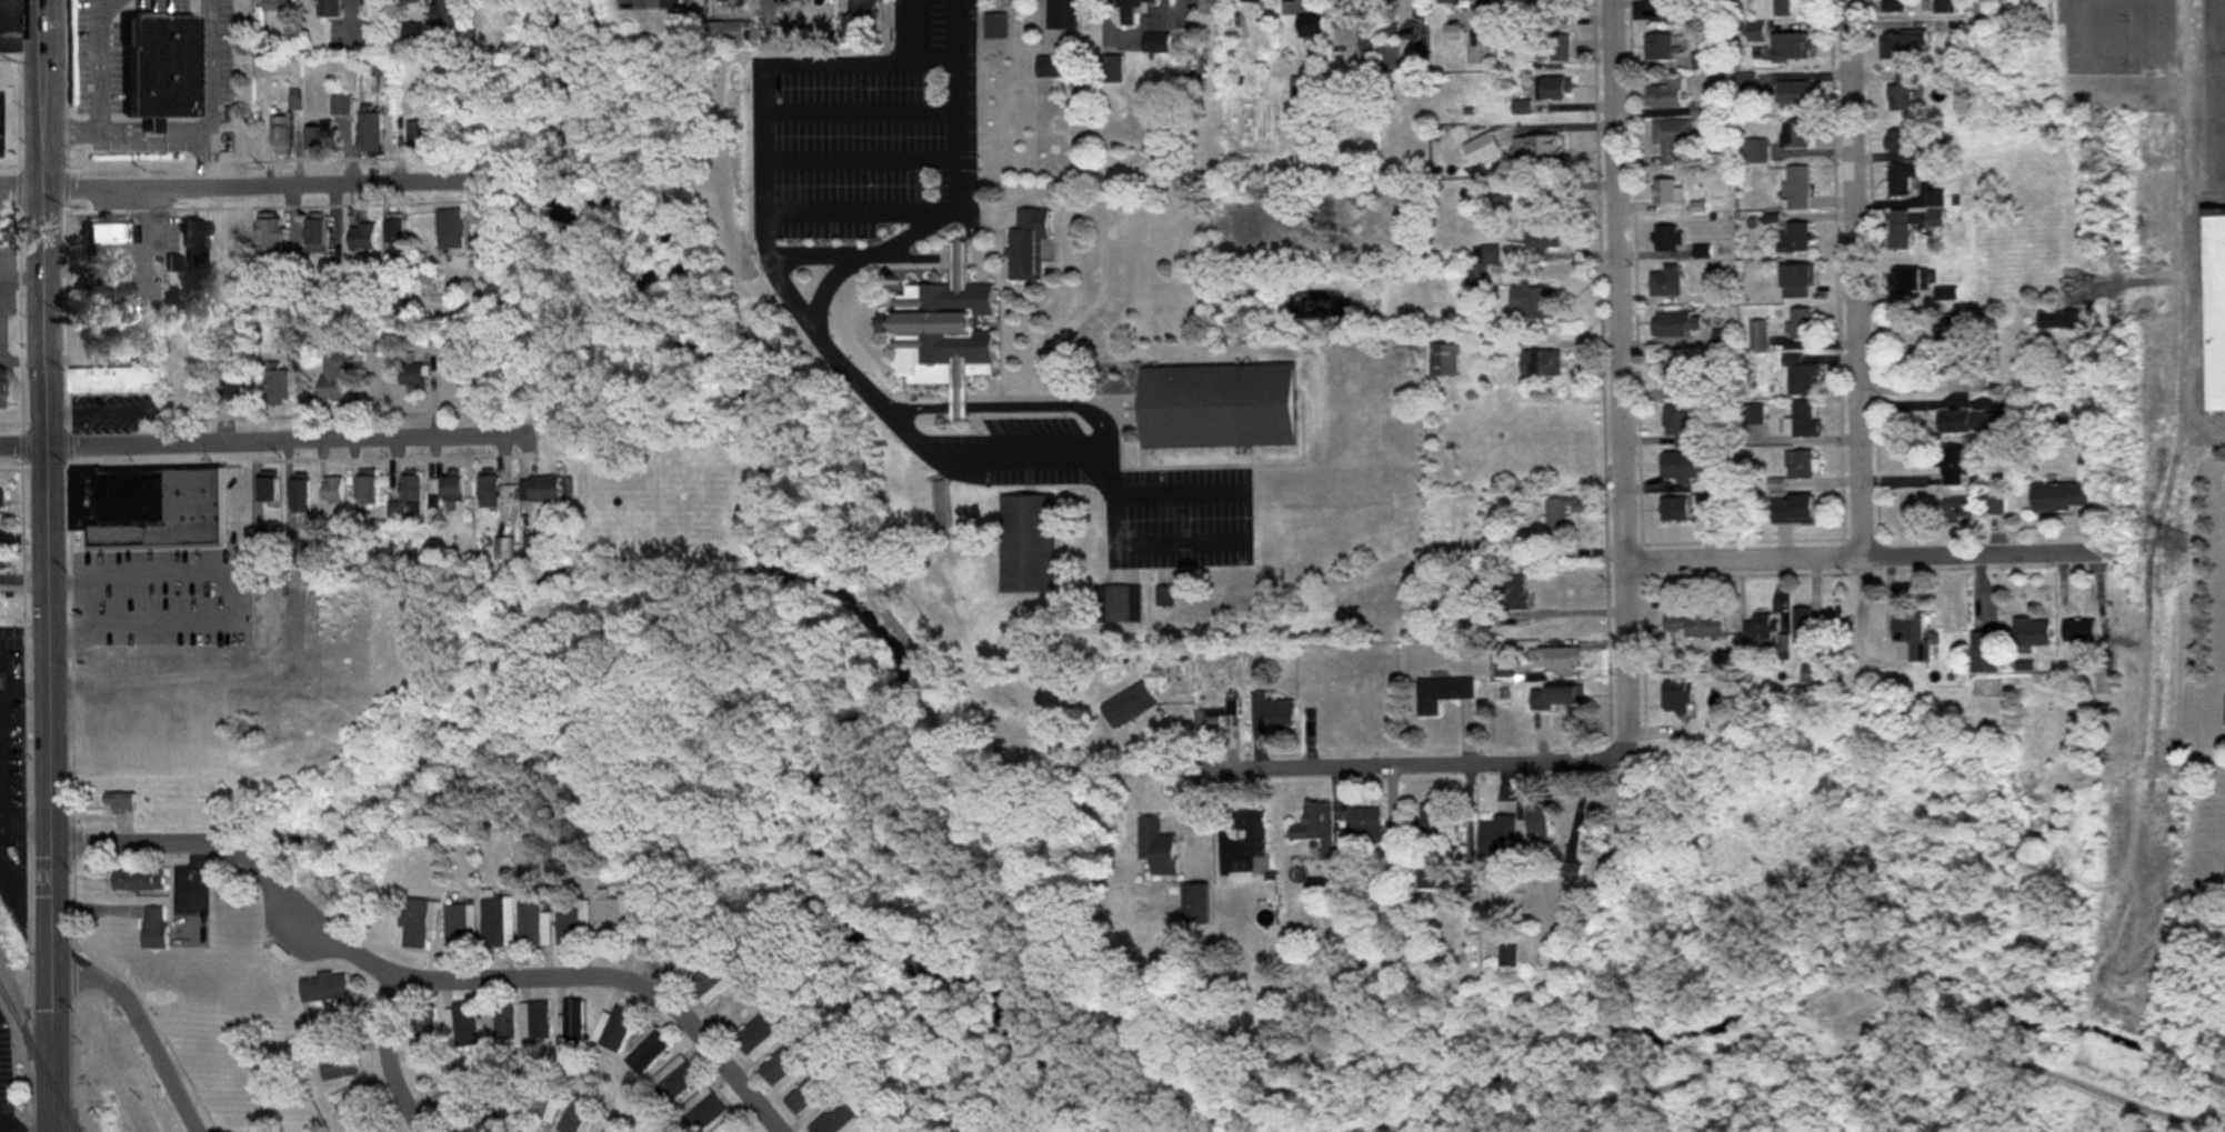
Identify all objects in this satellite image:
building: (1513, 0)
building: (1252, 1)
building: (404, 2)
building: (672, 2)
building: (1456, 2)
building: (1135, 3)
building: (1561, 3)
building: (275, 6)
building: (1892, 6)
building: (861, 7)
building: (1209, 7)
building: (1945, 7)
building: (1782, 8)
building: (327, 9)
building: (1677, 10)
building: (442, 13)
building: (1061, 14)
building: (993, 26)
building: (8, 27)
building: (1311, 27)
building: (722, 32)
building: (1756, 32)
building: (1369, 34)
building: (1156, 43)
building: (1904, 46)
building: (1558, 48)
building: (1791, 48)
building: (1386, 57)
building: (160, 64)
building: (1050, 67)
building: (1110, 70)
building: (1556, 89)
road: (99, 90)
building: (1903, 91)
road: (208, 92)
building: (1795, 93)
building: (1666, 94)
building: (1302, 96)
road: (860, 106)
building: (370, 132)
building: (420, 134)
building: (281, 136)
building: (1796, 136)
building: (321, 137)
building: (1495, 137)
road: (151, 139)
building: (1672, 140)
building: (1898, 141)
building: (1541, 147)
building: (1755, 151)
road: (860, 153)
building: (1902, 179)
road: (22, 183)
road: (260, 186)
building: (1797, 188)
building: (1666, 191)
road: (860, 207)
building: (1935, 213)
road: (2192, 223)
building: (451, 229)
building: (1898, 230)
building: (1544, 233)
building: (108, 234)
building: (315, 236)
building: (241, 237)
building: (361, 237)
building: (271, 238)
building: (1795, 238)
building: (395, 239)
building: (1665, 239)
building: (192, 241)
building: (1025, 242)
road: (774, 251)
road: (950, 251)
building: (1480, 266)
building: (1666, 281)
building: (1796, 282)
building: (1910, 282)
road: (824, 284)
building: (102, 292)
building: (1537, 303)
building: (2215, 305)
building: (2061, 321)
building: (1675, 324)
building: (1800, 325)
building: (941, 330)
road: (1856, 333)
building: (1757, 337)
building: (1957, 344)
building: (1443, 361)
building: (1542, 364)
road: (1622, 372)
building: (411, 374)
building: (334, 378)
building: (1801, 378)
building: (1680, 379)
building: (114, 381)
building: (188, 387)
building: (1, 388)
building: (238, 388)
building: (278, 389)
road: (1009, 401)
building: (1216, 405)
building: (1802, 420)
building: (1972, 421)
building: (1678, 424)
road: (289, 440)
road: (23, 443)
road: (938, 447)
building: (1798, 463)
building: (1684, 464)
building: (1954, 464)
building: (453, 485)
road: (1179, 487)
building: (269, 488)
building: (367, 488)
building: (543, 488)
building: (333, 490)
building: (490, 490)
building: (300, 493)
building: (2062, 494)
building: (405, 495)
building: (1, 497)
building: (148, 507)
building: (1674, 508)
building: (1794, 508)
building: (1958, 509)
building: (1561, 512)
road: (1181, 538)
power tower: (2175, 542)
building: (1025, 543)
building: (504, 548)
road: (1860, 550)
building: (298, 551)
building: (1, 559)
road: (48, 565)
road: (858, 570)
road: (68, 577)
road: (240, 582)
building: (1513, 591)
building: (1111, 602)
building: (1696, 623)
building: (1760, 627)
building: (1803, 627)
building: (2081, 629)
building: (2033, 630)
building: (1915, 634)
building: (1987, 651)
building: (1561, 657)
building: (1816, 667)
building: (1441, 692)
building: (1563, 694)
building: (1676, 695)
building: (1127, 703)
building: (1273, 710)
building: (1332, 710)
building: (1213, 714)
road: (1429, 762)
road: (1108, 777)
building: (118, 801)
building: (1539, 819)
building: (1431, 823)
building: (1366, 824)
building: (1320, 834)
building: (1253, 838)
building: (1497, 838)
road: (138, 843)
building: (1155, 845)
building: (1572, 870)
building: (139, 879)
building: (1194, 903)
road: (312, 913)
building: (612, 919)
building: (498, 921)
building: (418, 922)
building: (573, 922)
building: (460, 924)
building: (534, 925)
building: (153, 928)
building: (1507, 955)
road: (628, 975)
building: (709, 984)
road: (1863, 989)
building: (323, 991)
building: (734, 1009)
building: (499, 1021)
building: (534, 1021)
road: (140, 1022)
building: (572, 1024)
building: (460, 1025)
building: (615, 1029)
building: (421, 1033)
building: (759, 1033)
building: (647, 1050)
railway: (39, 1055)
road: (387, 1058)
building: (338, 1063)
building: (786, 1065)
building: (673, 1081)
building: (810, 1095)
building: (495, 1100)
building: (351, 1101)
building: (542, 1102)
building: (449, 1106)
building: (575, 1114)
building: (839, 1120)
building: (731, 1125)
road: (1200, 1125)
road: (1373, 1125)
building: (375, 1126)
building: (612, 1129)
building: (875, 1129)
road: (26, 1131)

